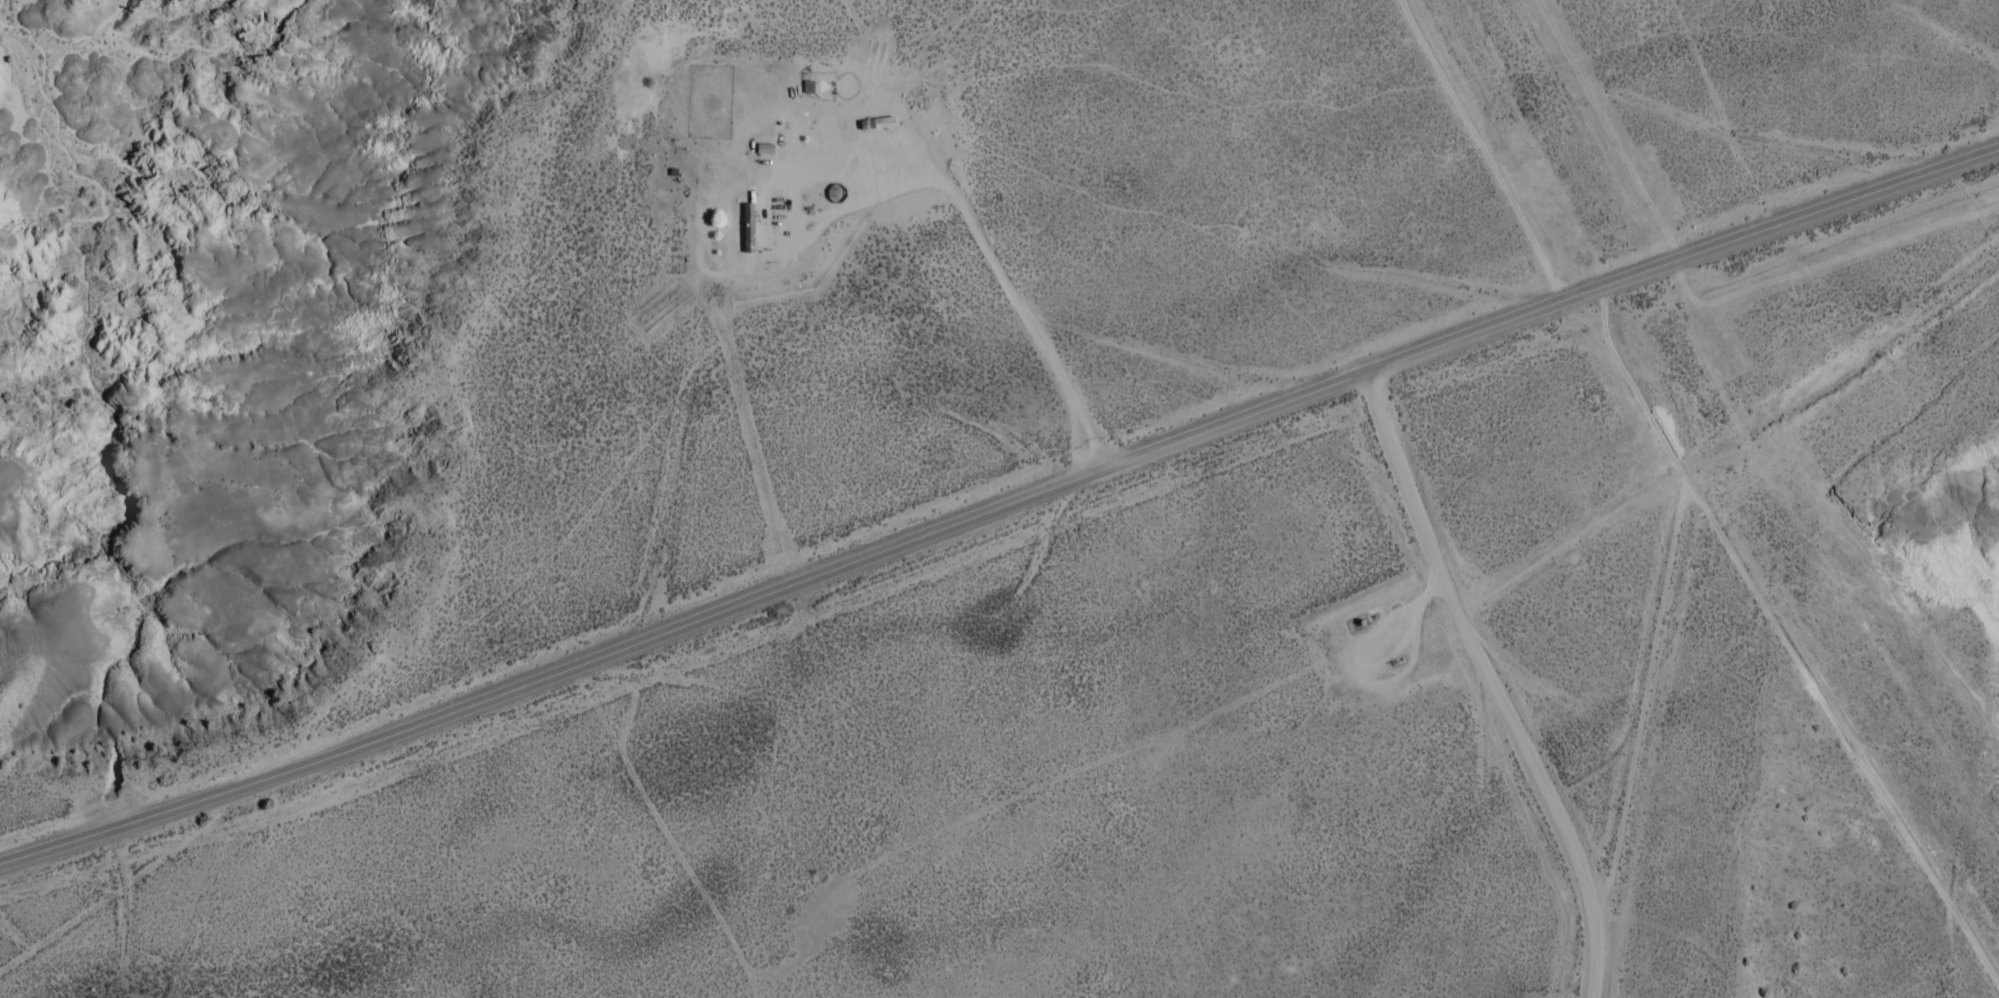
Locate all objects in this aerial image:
building: (879, 125)
building: (749, 229)
road: (999, 507)
road: (1783, 643)
road: (1487, 684)

